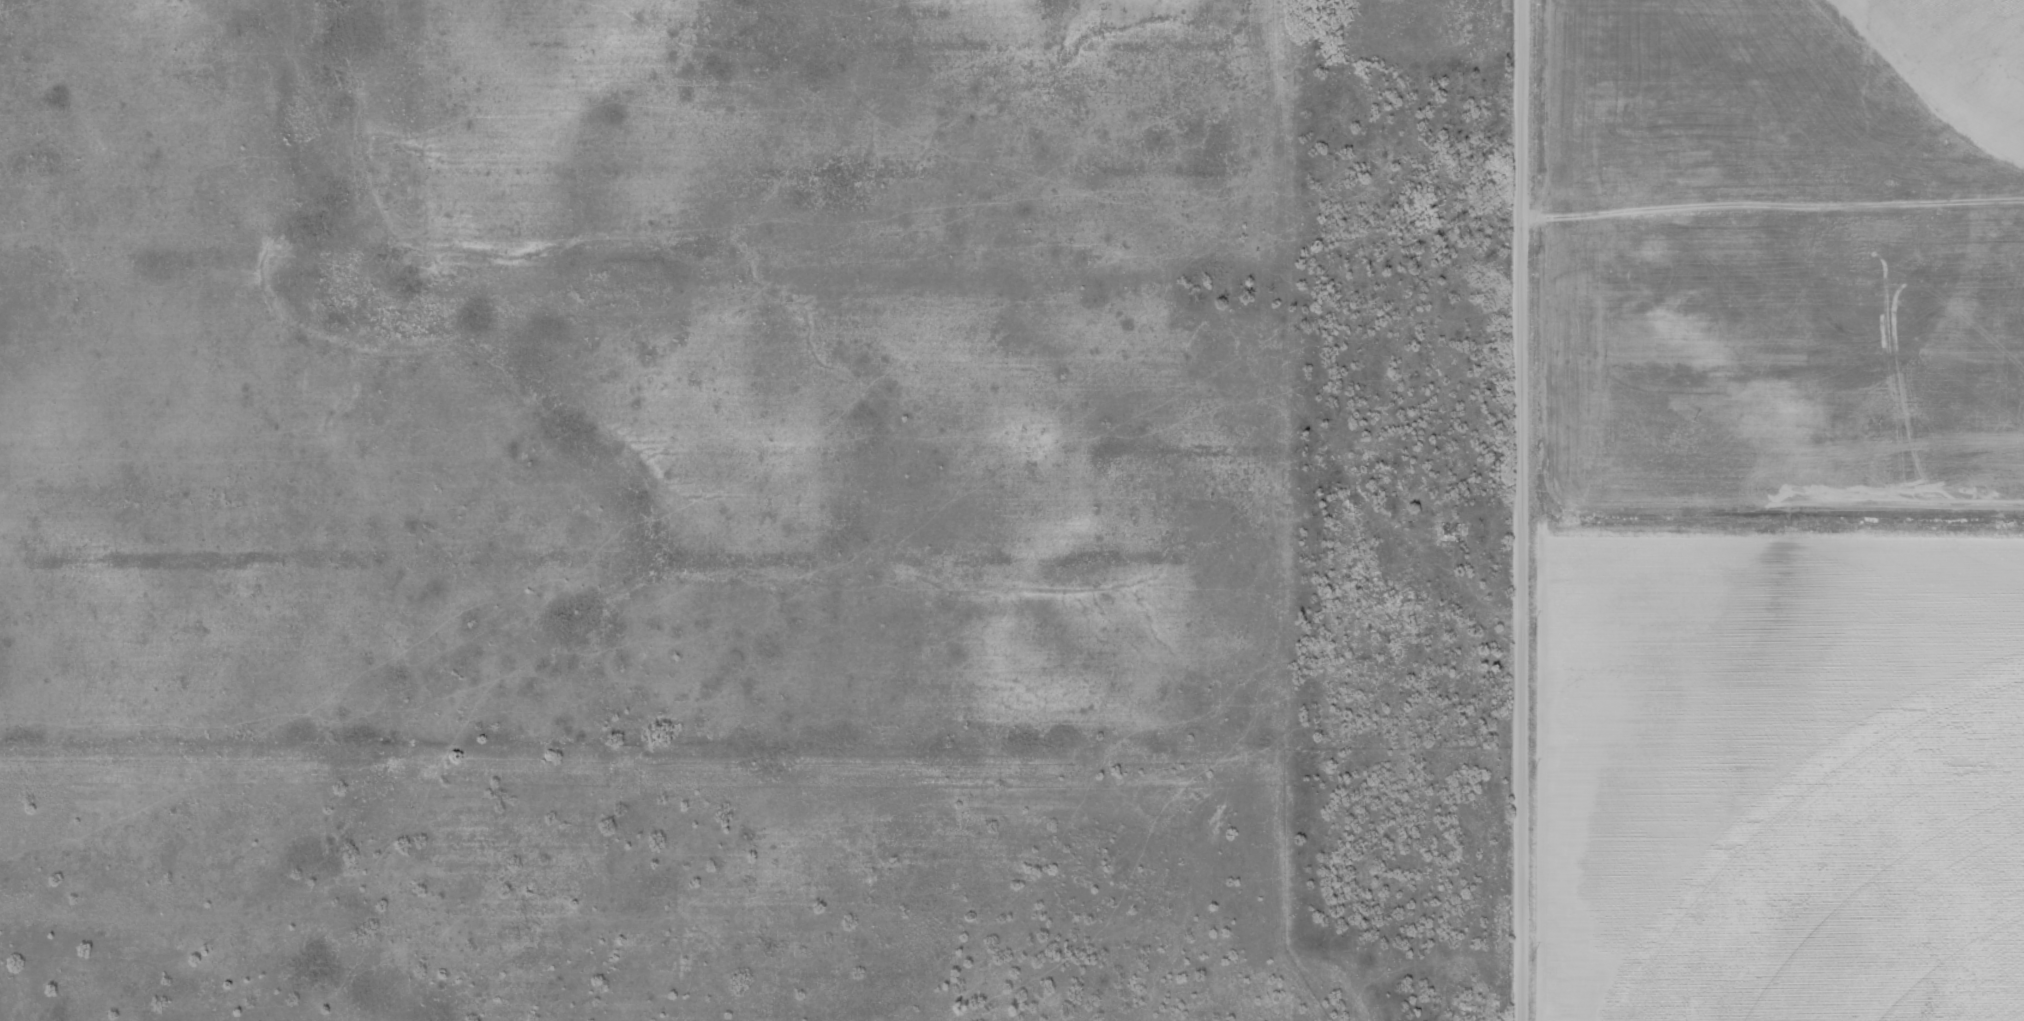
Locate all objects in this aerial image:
road: (1522, 510)
building: (1451, 531)

